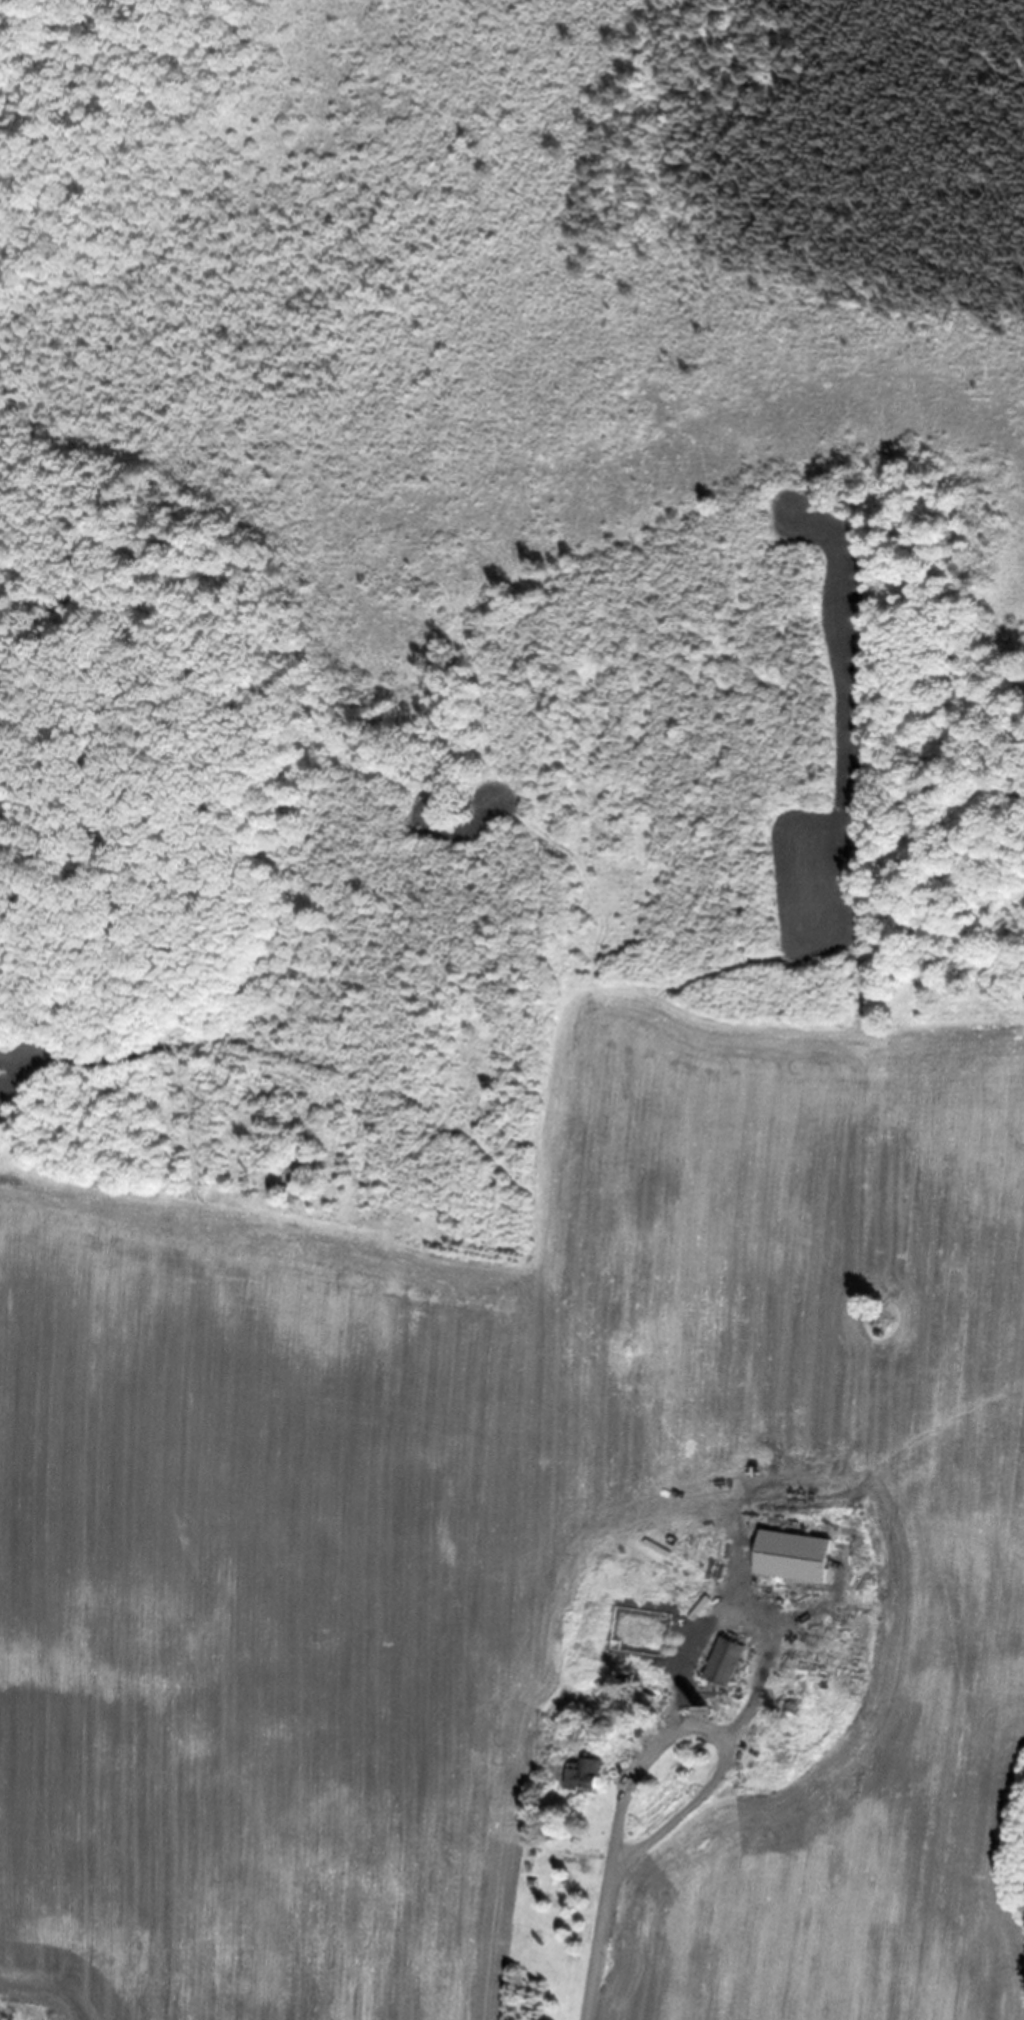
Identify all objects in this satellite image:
building: (715, 1566)
building: (722, 1660)
building: (583, 1774)

